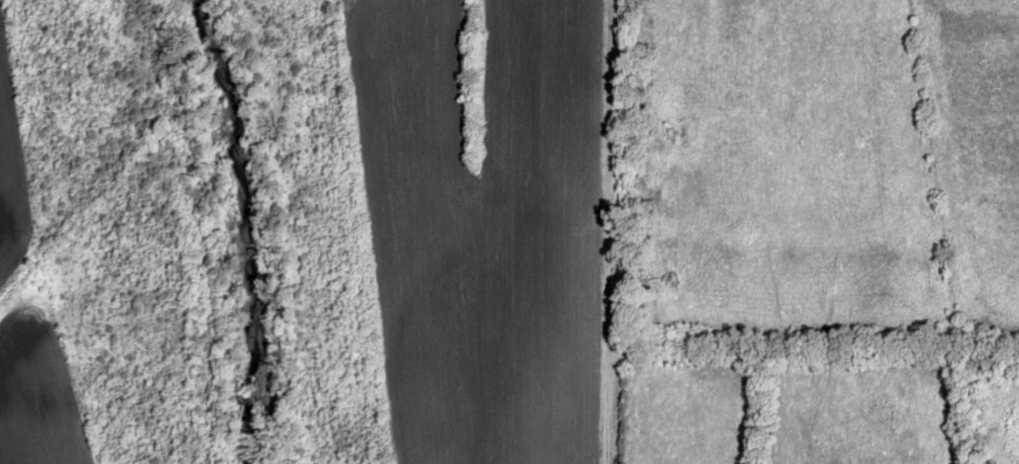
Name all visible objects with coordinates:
road: (368, 227)
road: (250, 404)
road: (110, 418)

